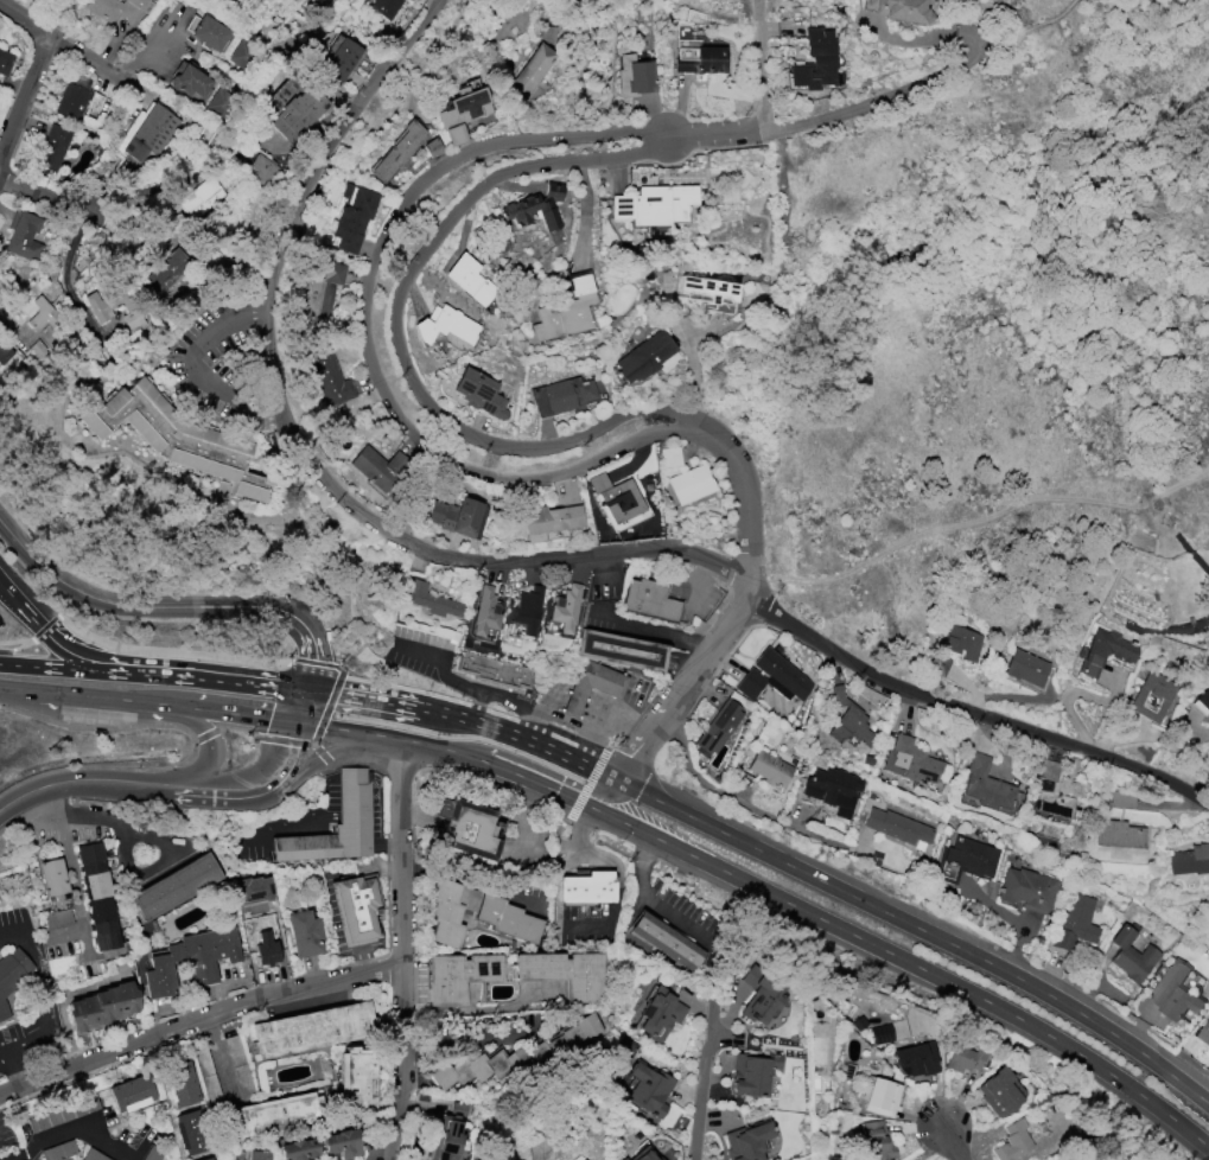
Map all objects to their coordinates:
building: (329, 0)
building: (383, 7)
building: (117, 8)
building: (901, 11)
road: (1038, 24)
building: (208, 32)
building: (548, 34)
road: (178, 43)
building: (243, 56)
building: (342, 59)
building: (699, 60)
building: (815, 60)
building: (5, 62)
road: (98, 65)
road: (761, 66)
building: (532, 71)
building: (634, 76)
building: (189, 81)
building: (76, 98)
road: (26, 101)
building: (221, 102)
building: (299, 113)
building: (463, 113)
road: (841, 114)
building: (96, 121)
building: (146, 135)
building: (433, 147)
building: (51, 149)
building: (399, 151)
building: (262, 170)
road: (49, 197)
building: (203, 197)
building: (655, 205)
building: (535, 208)
building: (354, 217)
building: (24, 236)
building: (166, 273)
building: (469, 279)
building: (706, 287)
building: (322, 299)
building: (101, 306)
building: (566, 311)
building: (39, 313)
building: (446, 325)
road: (371, 342)
road: (400, 343)
building: (38, 349)
building: (4, 355)
building: (644, 357)
road: (191, 365)
road: (695, 367)
building: (329, 378)
building: (479, 393)
building: (561, 396)
building: (176, 436)
road: (313, 440)
building: (669, 457)
building: (378, 469)
building: (691, 484)
building: (616, 499)
road: (744, 508)
building: (454, 516)
building: (549, 521)
road: (611, 574)
road: (699, 585)
road: (504, 597)
building: (432, 600)
building: (649, 600)
building: (527, 608)
road: (174, 610)
building: (564, 611)
building: (485, 616)
road: (654, 629)
road: (79, 640)
building: (961, 640)
road: (39, 648)
road: (101, 649)
building: (619, 650)
building: (1103, 651)
road: (185, 655)
road: (62, 658)
road: (317, 661)
building: (1025, 668)
road: (113, 671)
building: (492, 671)
building: (772, 677)
road: (268, 684)
road: (478, 684)
building: (593, 686)
road: (686, 688)
traffic signals: (311, 689)
road: (42, 691)
road: (363, 696)
building: (1151, 696)
road: (127, 700)
building: (1204, 701)
road: (327, 703)
road: (482, 705)
road: (603, 705)
road: (306, 706)
road: (547, 712)
road: (973, 713)
road: (235, 714)
building: (848, 720)
traffic signals: (301, 724)
building: (720, 725)
road: (98, 726)
road: (238, 726)
road: (344, 729)
road: (206, 732)
road: (281, 738)
road: (520, 738)
road: (395, 739)
road: (214, 746)
road: (329, 747)
road: (287, 748)
road: (320, 752)
road: (337, 760)
building: (911, 761)
road: (533, 764)
building: (769, 769)
road: (84, 783)
building: (986, 784)
building: (833, 789)
building: (1054, 789)
road: (227, 792)
building: (1122, 799)
road: (745, 804)
road: (528, 821)
building: (335, 826)
building: (897, 827)
building: (466, 828)
building: (1118, 834)
building: (1189, 860)
building: (963, 861)
road: (70, 865)
road: (131, 866)
road: (617, 873)
building: (174, 886)
building: (586, 887)
building: (255, 890)
building: (1026, 890)
building: (55, 893)
building: (97, 898)
road: (656, 905)
building: (355, 907)
building: (450, 910)
road: (817, 917)
building: (508, 919)
road: (1014, 922)
building: (1074, 923)
road: (922, 930)
road: (18, 933)
building: (305, 933)
road: (85, 942)
building: (666, 942)
building: (266, 950)
road: (405, 950)
building: (1131, 956)
building: (191, 961)
building: (565, 973)
building: (11, 975)
building: (457, 975)
building: (1175, 992)
building: (761, 995)
building: (101, 1007)
road: (49, 1013)
building: (658, 1014)
road: (199, 1022)
building: (312, 1028)
building: (1204, 1032)
building: (880, 1034)
building: (577, 1035)
road: (475, 1038)
road: (4, 1049)
building: (543, 1056)
building: (965, 1058)
building: (915, 1059)
building: (238, 1066)
building: (479, 1067)
road: (13, 1069)
building: (752, 1073)
building: (206, 1077)
building: (356, 1079)
building: (180, 1085)
building: (647, 1089)
building: (998, 1091)
building: (132, 1094)
road: (706, 1096)
building: (882, 1097)
building: (63, 1114)
building: (271, 1115)
road: (68, 1129)
building: (192, 1132)
building: (747, 1141)
building: (876, 1141)
building: (1012, 1141)
building: (448, 1142)
building: (341, 1143)
road: (956, 1147)
building: (300, 1149)
building: (59, 1151)
road: (14, 1153)
building: (153, 1154)
building: (254, 1154)
building: (644, 1154)
building: (93, 1155)
building: (208, 1158)
road: (390, 1159)
building: (623, 1159)

